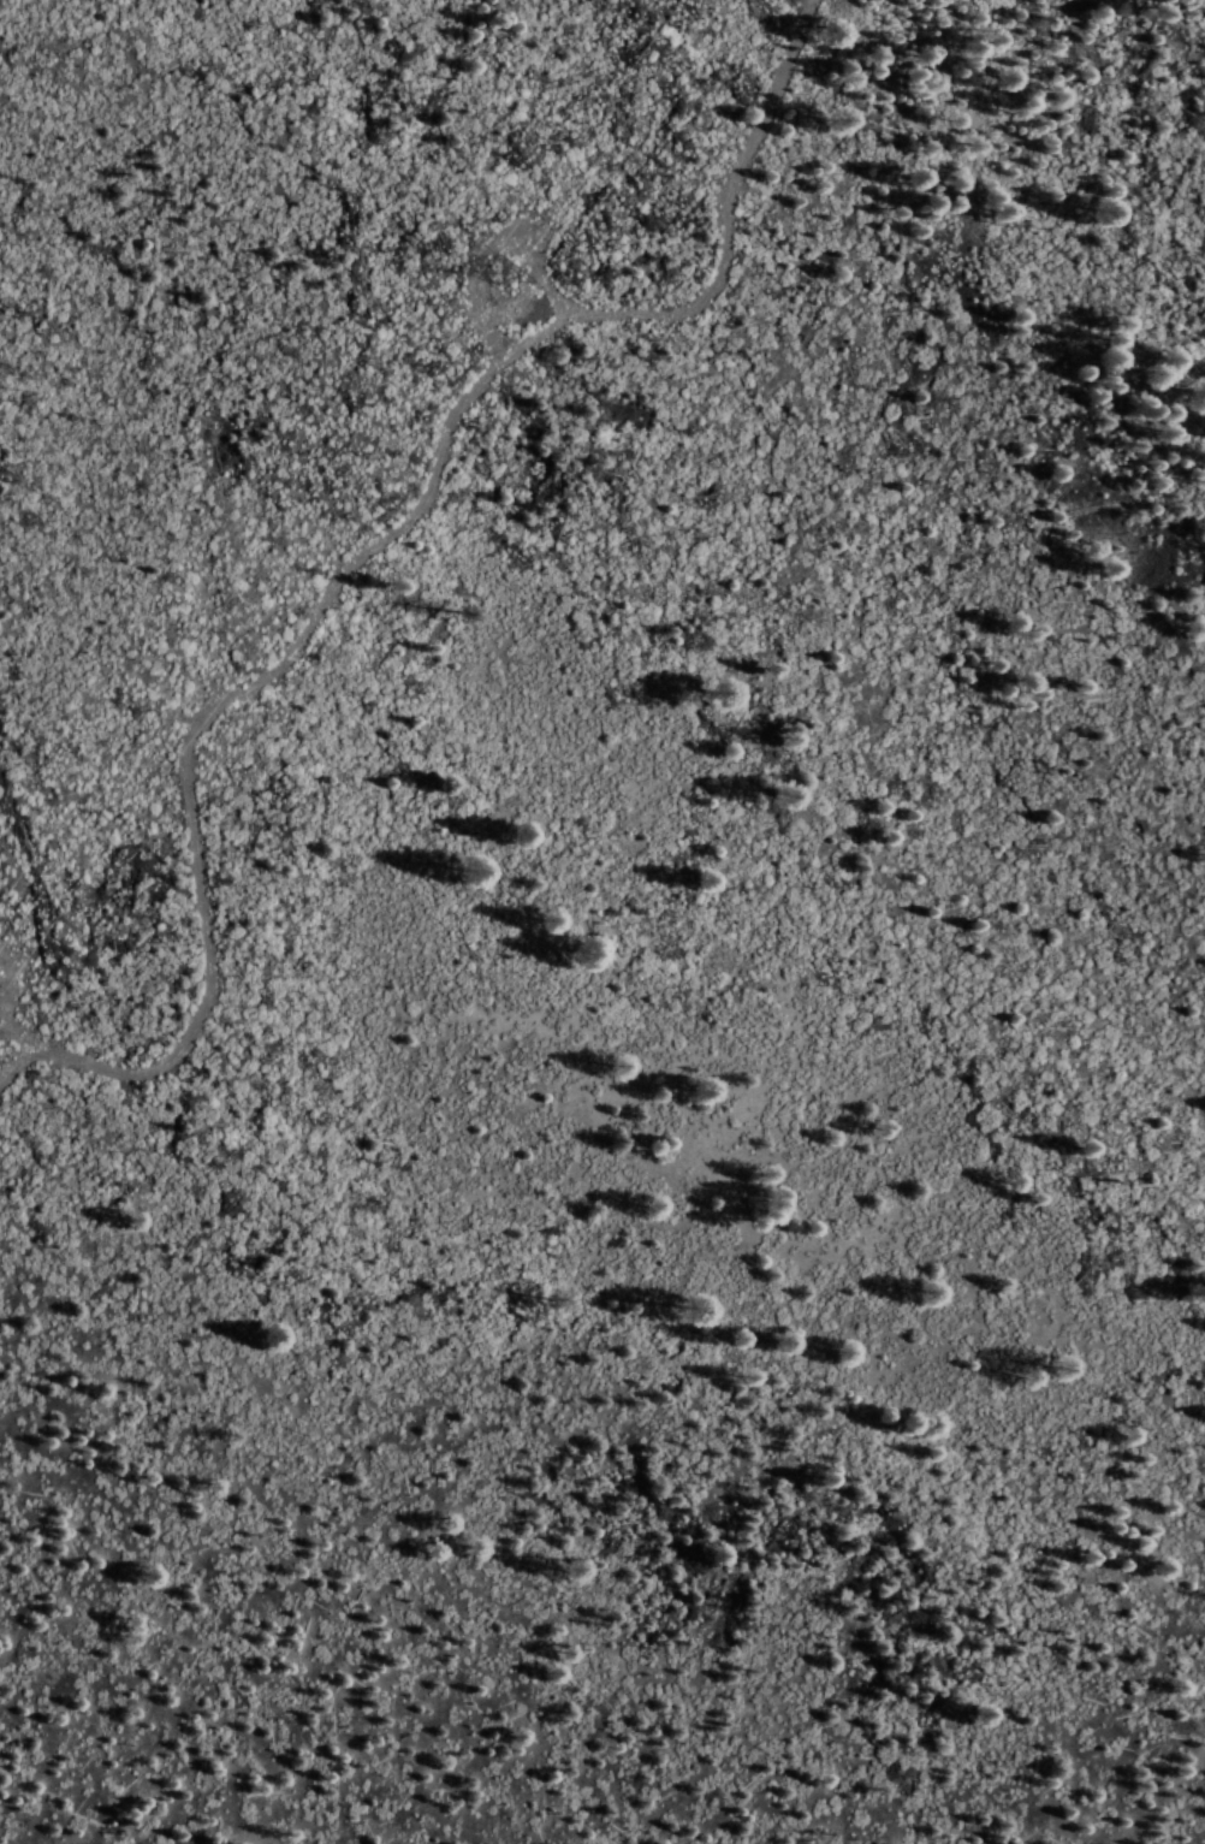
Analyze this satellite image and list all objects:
power tower: (512, 257)

